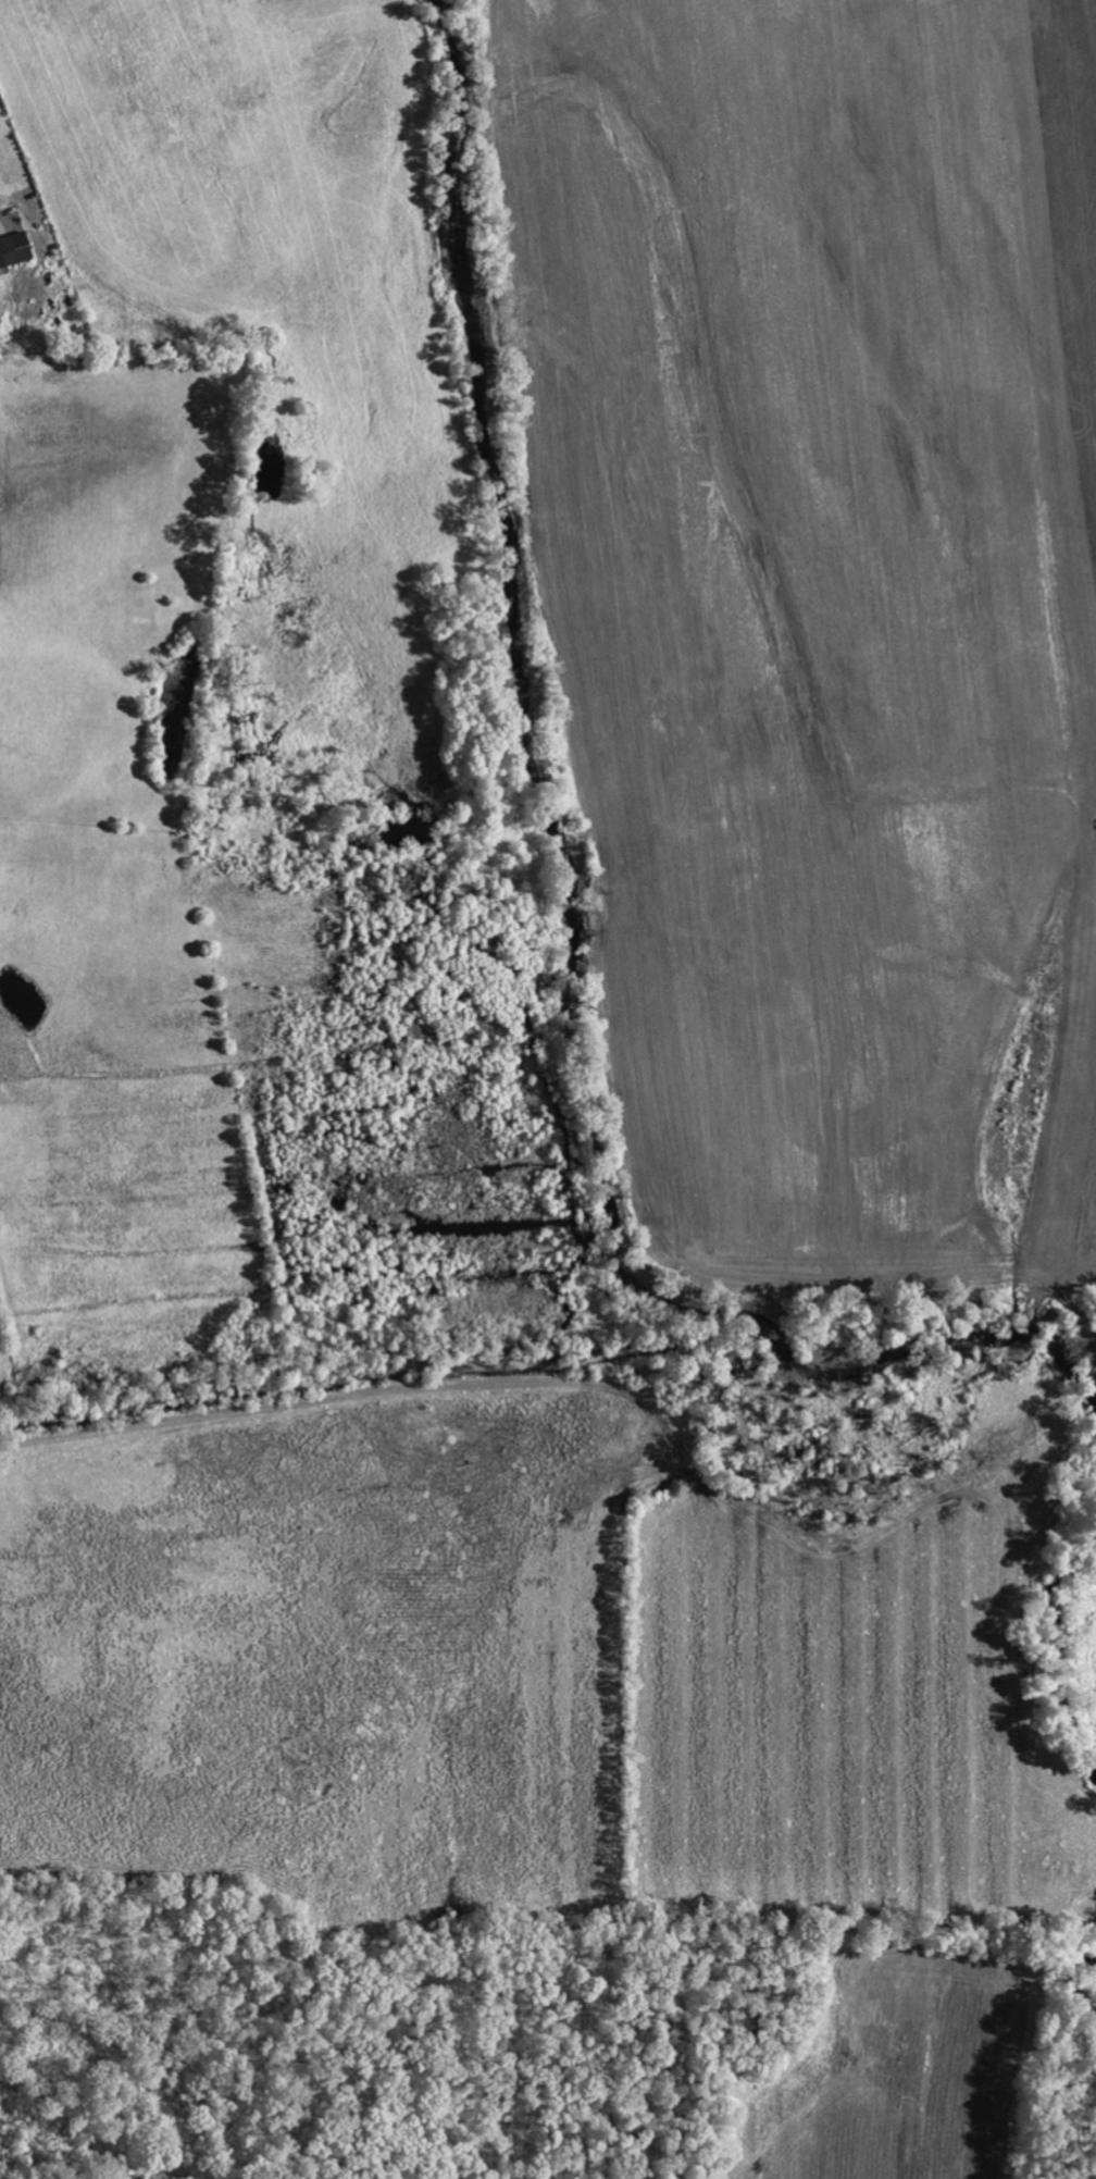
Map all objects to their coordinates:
building: (16, 251)

